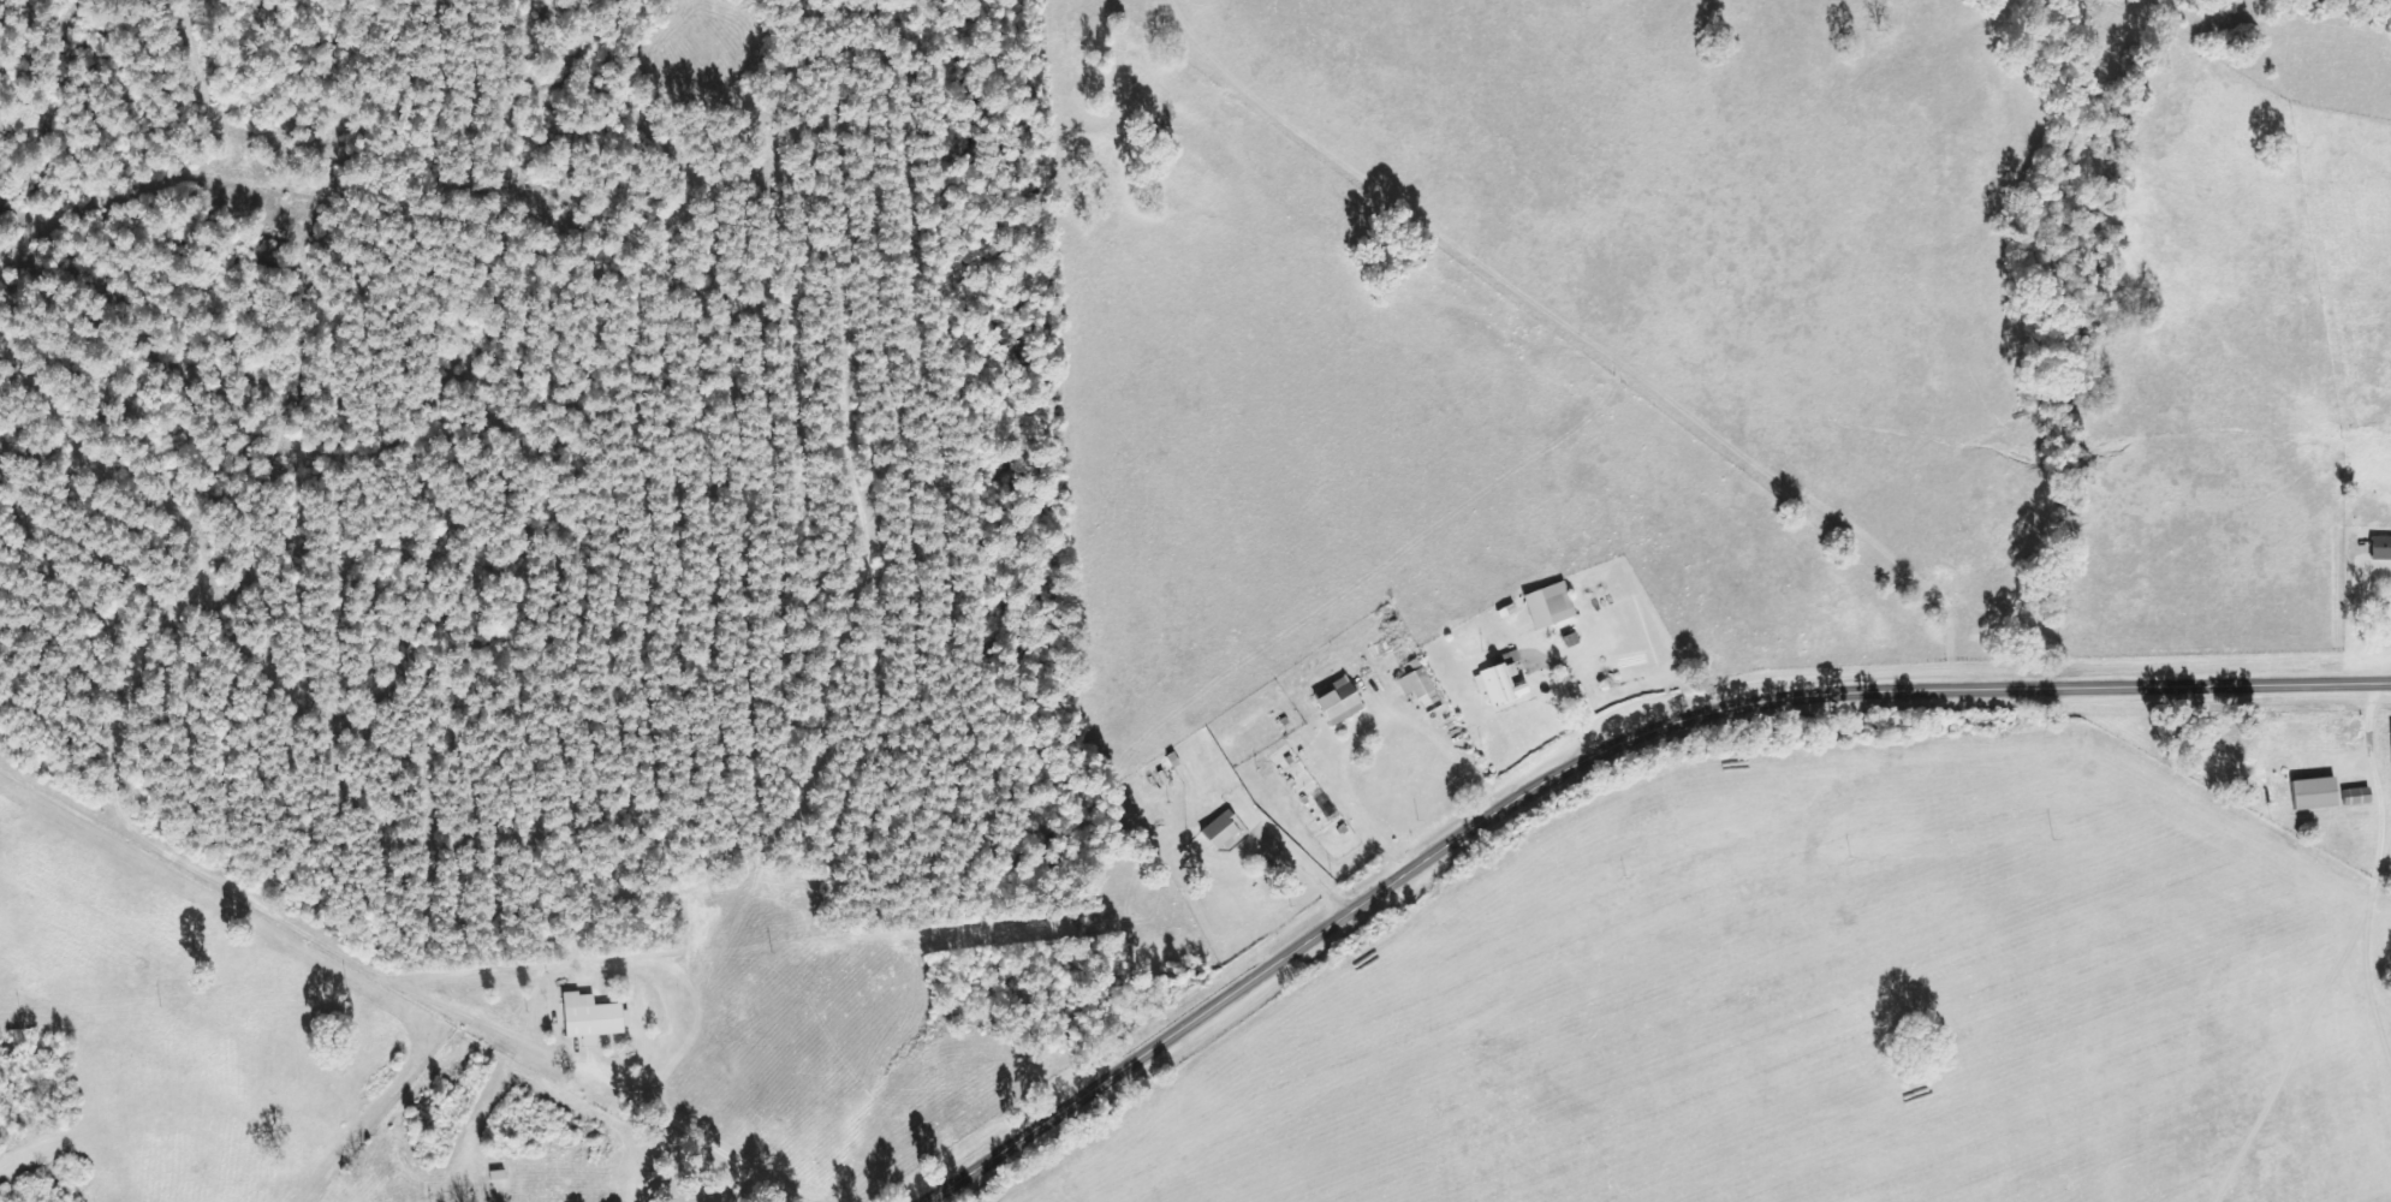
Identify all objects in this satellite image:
building: (2379, 548)
building: (1547, 606)
building: (1499, 679)
building: (1415, 684)
building: (1336, 702)
building: (2390, 732)
road: (1593, 755)
building: (2312, 793)
building: (2354, 797)
building: (1218, 832)
building: (588, 1018)

